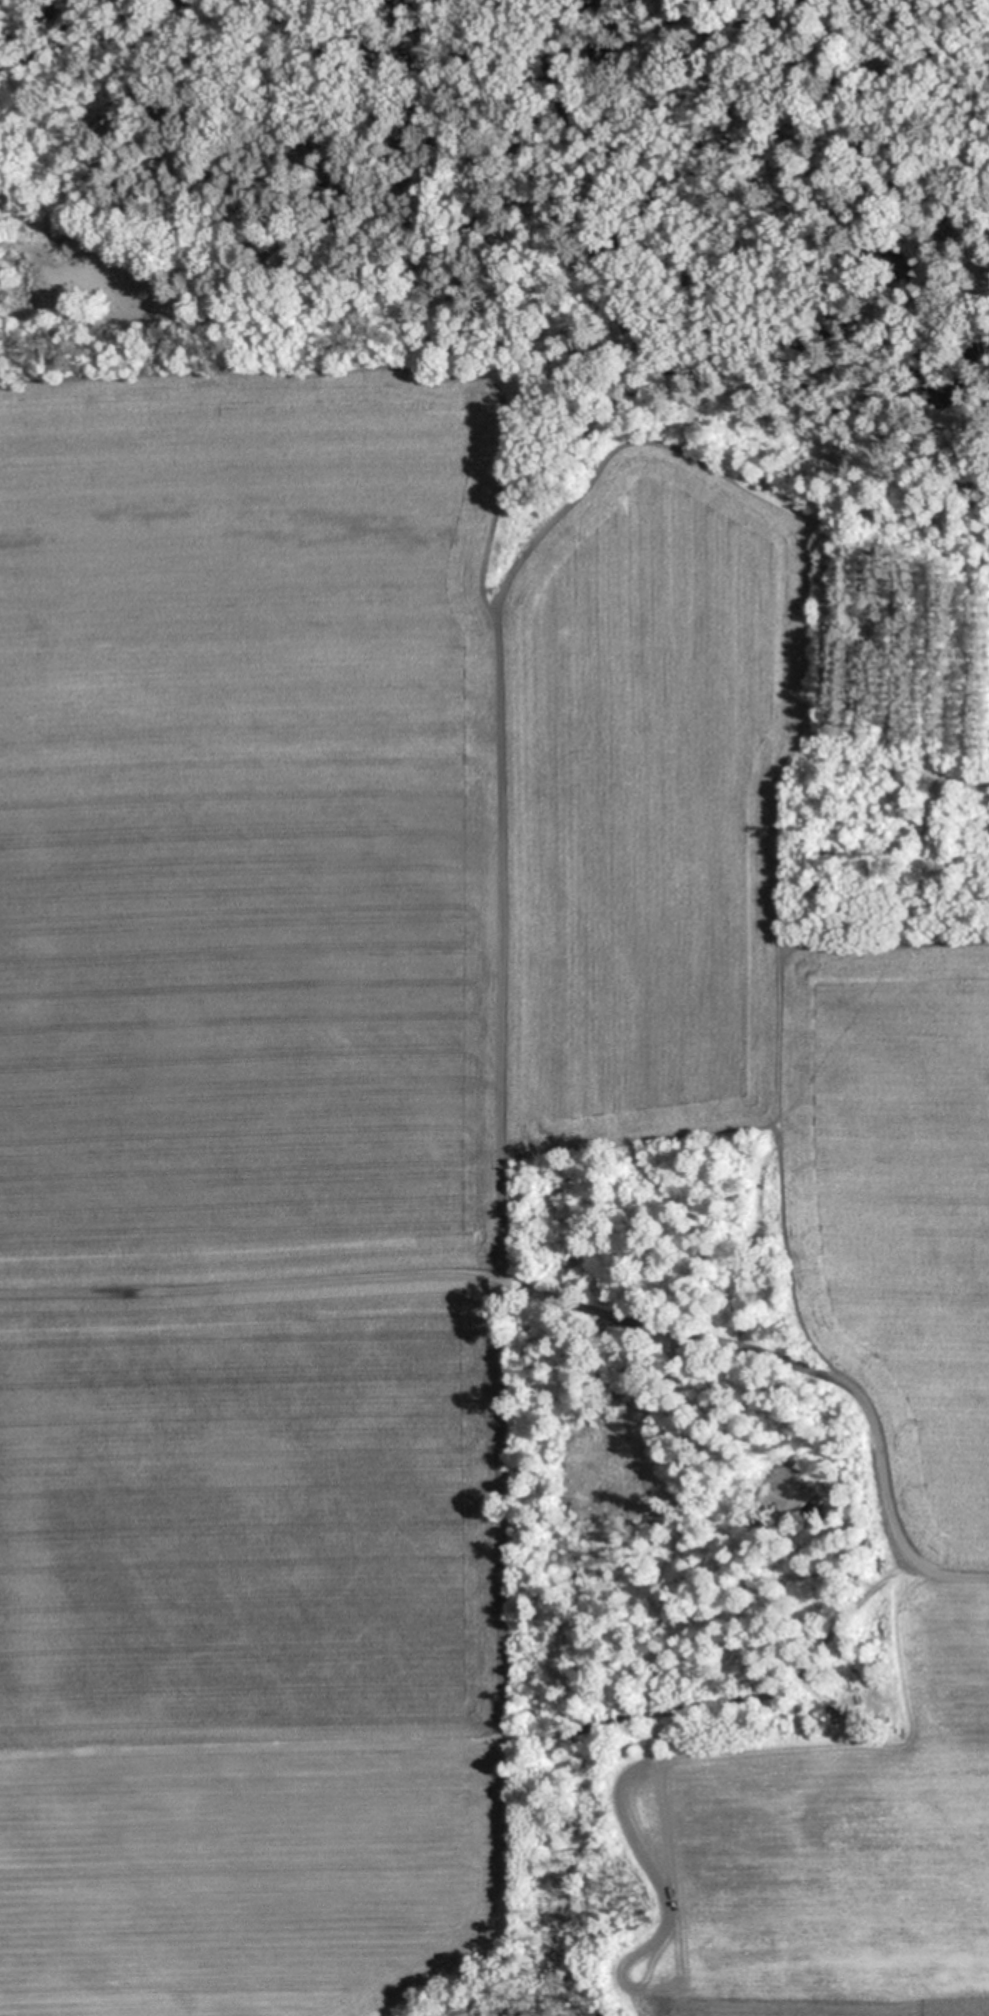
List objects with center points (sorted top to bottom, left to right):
road: (245, 1287)
road: (800, 1366)

